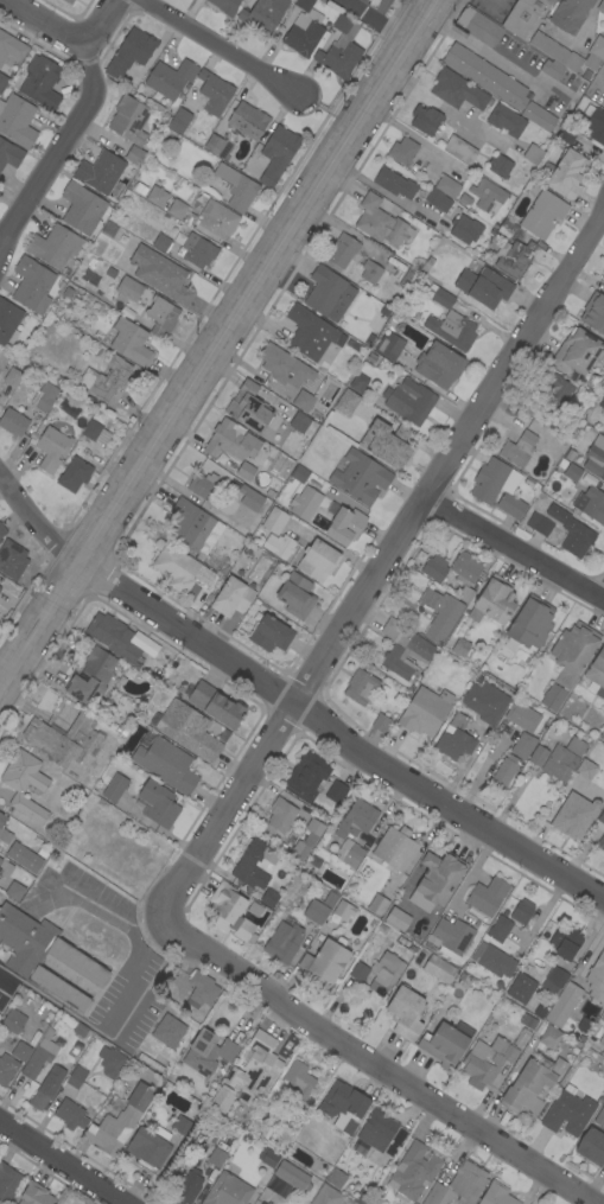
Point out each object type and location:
building: (68, 1)
building: (376, 5)
building: (225, 6)
building: (600, 7)
building: (570, 14)
building: (263, 15)
building: (523, 15)
road: (584, 21)
road: (45, 23)
building: (478, 26)
building: (303, 30)
building: (11, 47)
road: (216, 49)
building: (341, 49)
road: (483, 51)
building: (555, 51)
building: (131, 52)
building: (595, 53)
building: (552, 69)
building: (487, 76)
building: (170, 78)
building: (2, 82)
building: (42, 82)
building: (457, 90)
building: (212, 93)
road: (444, 107)
road: (322, 116)
building: (539, 116)
building: (17, 120)
building: (129, 120)
building: (179, 120)
building: (247, 120)
building: (425, 120)
building: (506, 120)
building: (595, 122)
road: (76, 125)
building: (567, 133)
road: (415, 138)
building: (217, 146)
building: (459, 149)
building: (402, 151)
building: (533, 153)
building: (9, 154)
building: (276, 154)
building: (134, 155)
building: (500, 166)
building: (100, 171)
building: (567, 174)
building: (394, 183)
building: (447, 186)
building: (236, 187)
road: (381, 190)
building: (487, 193)
building: (157, 196)
building: (438, 200)
building: (81, 208)
building: (177, 209)
building: (543, 214)
building: (217, 219)
building: (381, 222)
building: (465, 228)
building: (506, 228)
building: (159, 241)
building: (55, 246)
building: (196, 250)
building: (342, 250)
building: (514, 257)
building: (603, 270)
building: (110, 272)
building: (370, 272)
building: (160, 274)
building: (31, 282)
building: (484, 286)
building: (128, 288)
building: (603, 291)
building: (329, 293)
building: (439, 295)
building: (593, 312)
building: (161, 316)
building: (8, 321)
building: (452, 330)
building: (313, 336)
building: (131, 342)
road: (217, 345)
building: (390, 345)
building: (577, 352)
building: (2, 361)
building: (439, 365)
building: (284, 367)
building: (12, 377)
building: (106, 378)
building: (357, 382)
building: (44, 396)
building: (551, 399)
building: (408, 400)
building: (303, 401)
building: (346, 402)
building: (600, 406)
building: (249, 408)
building: (13, 422)
building: (301, 425)
building: (95, 433)
building: (230, 441)
building: (387, 442)
building: (519, 447)
building: (51, 448)
building: (558, 451)
building: (570, 454)
building: (595, 457)
building: (561, 464)
building: (246, 471)
building: (572, 472)
building: (299, 473)
building: (74, 474)
building: (360, 477)
building: (202, 484)
building: (497, 486)
building: (249, 498)
building: (305, 502)
building: (591, 502)
building: (331, 507)
building: (539, 524)
building: (190, 525)
building: (273, 525)
building: (344, 525)
building: (2, 530)
building: (571, 531)
building: (0, 540)
road: (515, 548)
building: (12, 560)
building: (313, 560)
road: (381, 565)
building: (179, 567)
building: (434, 568)
building: (223, 569)
building: (465, 574)
building: (0, 587)
building: (295, 595)
building: (231, 598)
building: (494, 601)
building: (440, 613)
building: (0, 616)
building: (529, 624)
building: (271, 633)
building: (114, 637)
building: (460, 646)
building: (574, 648)
building: (403, 649)
building: (597, 671)
building: (91, 675)
building: (361, 687)
road: (1, 688)
building: (553, 696)
road: (293, 701)
building: (485, 702)
building: (216, 705)
building: (422, 713)
building: (522, 716)
building: (381, 722)
building: (187, 730)
building: (602, 734)
building: (63, 739)
building: (454, 739)
building: (523, 745)
building: (576, 746)
building: (538, 756)
building: (559, 763)
building: (166, 764)
building: (585, 767)
building: (503, 772)
building: (306, 776)
building: (25, 784)
building: (114, 788)
building: (336, 792)
building: (158, 804)
building: (280, 814)
building: (573, 815)
building: (602, 817)
building: (4, 830)
building: (355, 830)
building: (306, 840)
building: (600, 842)
building: (395, 848)
building: (24, 856)
building: (252, 865)
building: (5, 868)
building: (439, 877)
building: (14, 891)
building: (487, 896)
building: (269, 898)
building: (329, 898)
road: (7, 899)
building: (377, 905)
building: (344, 910)
building: (230, 911)
building: (316, 911)
building: (522, 911)
building: (395, 918)
building: (500, 929)
building: (452, 936)
building: (284, 942)
building: (565, 942)
building: (25, 958)
building: (492, 960)
building: (325, 962)
building: (439, 969)
building: (360, 972)
road: (131, 973)
building: (384, 973)
road: (8, 977)
building: (554, 979)
building: (596, 979)
building: (521, 987)
building: (201, 990)
building: (176, 993)
building: (561, 1005)
building: (406, 1012)
building: (13, 1021)
building: (527, 1021)
building: (603, 1024)
building: (80, 1030)
building: (167, 1031)
building: (549, 1037)
building: (444, 1045)
building: (20, 1051)
building: (208, 1052)
building: (39, 1055)
building: (487, 1060)
building: (110, 1062)
building: (150, 1062)
road: (374, 1065)
building: (503, 1068)
building: (6, 1069)
building: (231, 1076)
building: (259, 1076)
building: (76, 1077)
building: (298, 1078)
building: (532, 1084)
building: (39, 1100)
building: (221, 1100)
building: (344, 1106)
building: (568, 1113)
building: (70, 1115)
building: (599, 1117)
building: (119, 1121)
building: (180, 1125)
building: (377, 1128)
building: (195, 1142)
building: (591, 1146)
building: (148, 1147)
building: (392, 1148)
building: (216, 1157)
building: (268, 1158)
road: (63, 1161)
building: (412, 1172)
building: (292, 1176)
building: (336, 1178)
building: (8, 1181)
building: (276, 1185)
building: (458, 1185)
building: (187, 1187)
building: (227, 1190)
building: (34, 1195)
building: (496, 1195)
building: (326, 1196)
building: (262, 1203)
building: (271, 1203)

